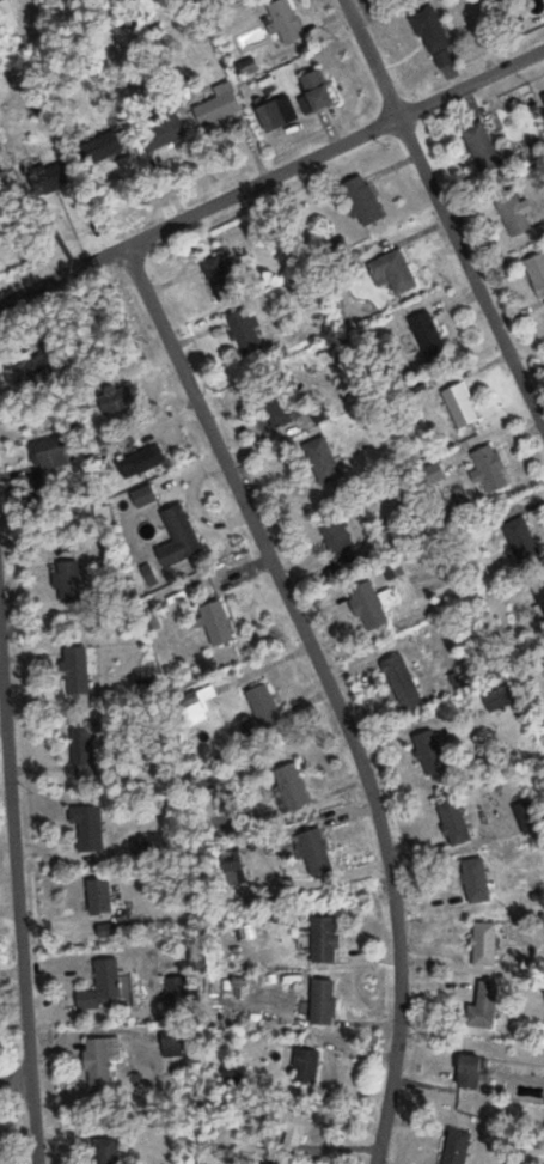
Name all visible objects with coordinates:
building: (6, 14)
building: (287, 20)
building: (430, 31)
building: (318, 89)
building: (219, 105)
building: (280, 112)
building: (165, 129)
building: (102, 147)
building: (483, 147)
building: (54, 176)
road: (271, 177)
building: (365, 200)
building: (513, 212)
road: (444, 217)
building: (393, 270)
building: (537, 272)
building: (222, 278)
building: (246, 331)
building: (428, 334)
building: (42, 360)
building: (118, 398)
building: (462, 404)
building: (276, 406)
building: (51, 452)
building: (324, 459)
building: (143, 462)
building: (489, 469)
building: (146, 495)
building: (181, 536)
building: (522, 538)
building: (341, 541)
building: (69, 580)
building: (540, 593)
building: (369, 605)
building: (218, 623)
building: (78, 672)
building: (403, 682)
road: (329, 689)
building: (499, 697)
building: (198, 701)
building: (263, 711)
building: (85, 749)
building: (430, 752)
building: (292, 787)
building: (527, 816)
building: (454, 821)
building: (90, 825)
building: (143, 848)
building: (314, 852)
building: (477, 879)
building: (102, 895)
road: (17, 913)
building: (325, 938)
building: (485, 944)
building: (103, 985)
building: (178, 995)
building: (323, 1001)
building: (485, 1006)
road: (88, 1014)
building: (173, 1042)
building: (102, 1061)
building: (306, 1065)
building: (471, 1071)
building: (236, 1073)
road: (14, 1083)
building: (292, 1127)
building: (457, 1146)
building: (108, 1151)

